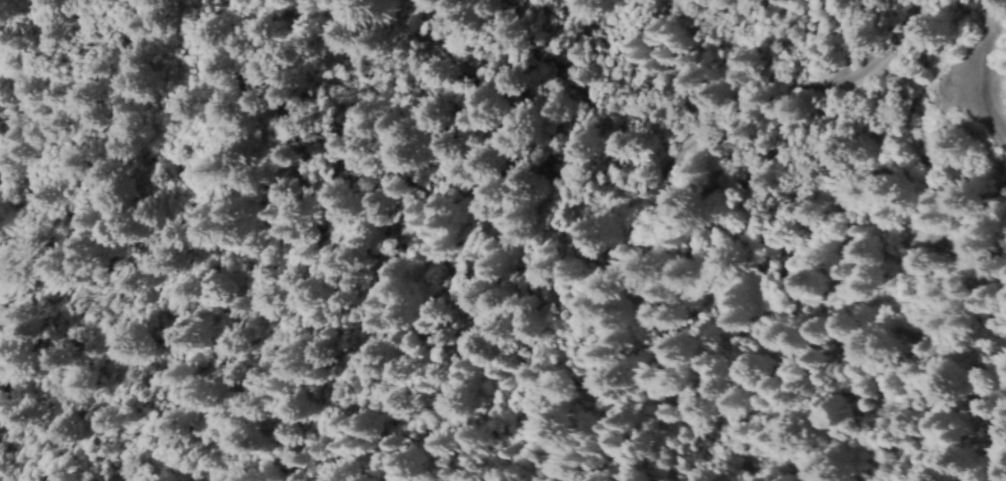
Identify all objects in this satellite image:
road: (979, 76)
road: (731, 177)
road: (935, 232)

